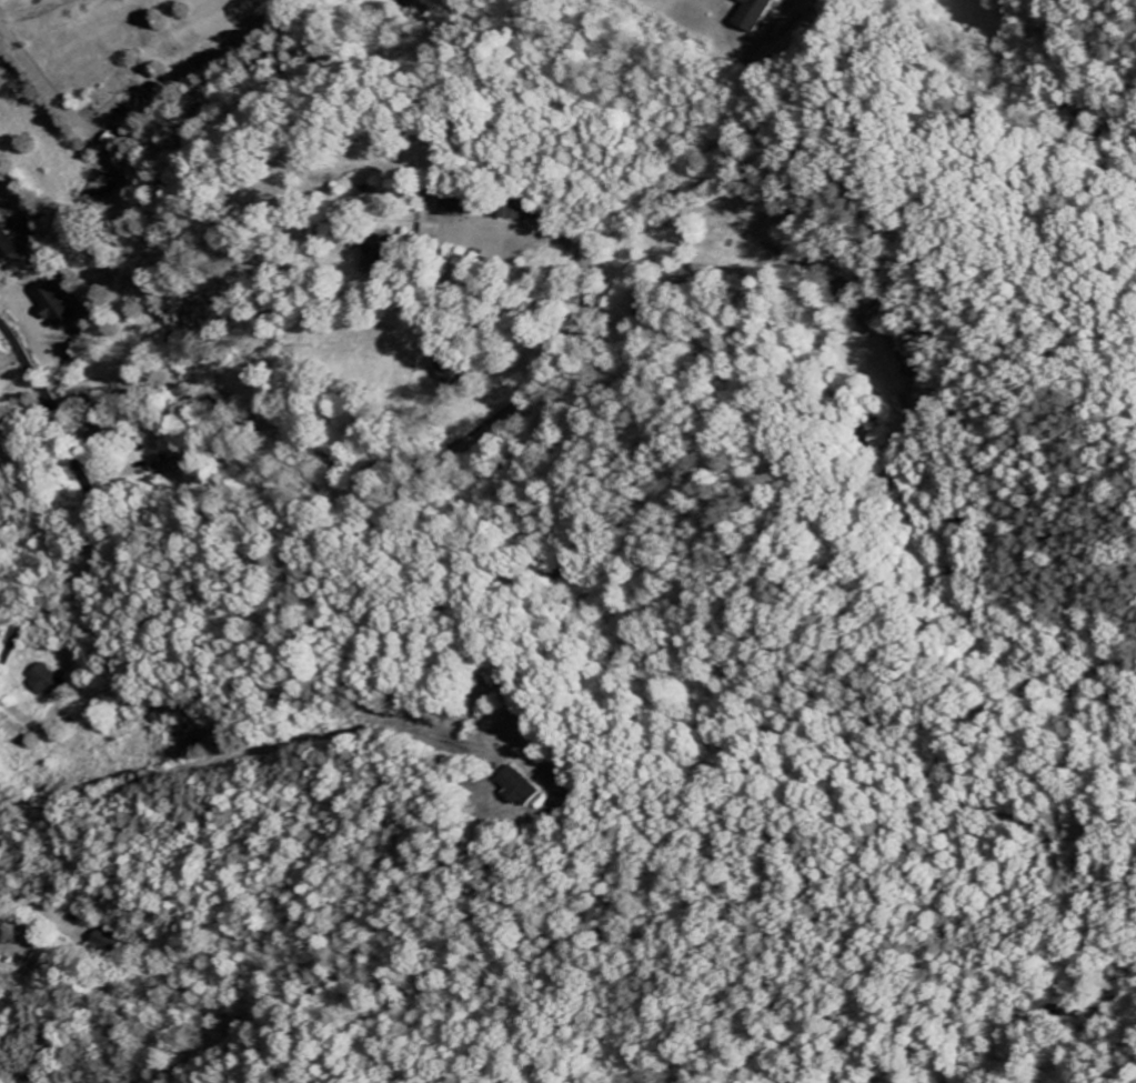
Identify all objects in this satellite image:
building: (758, 14)
road: (44, 82)
building: (472, 205)
building: (8, 243)
road: (102, 302)
building: (53, 305)
road: (153, 352)
road: (6, 354)
building: (459, 372)
road: (414, 465)
building: (165, 467)
road: (93, 521)
building: (54, 681)
road: (245, 755)
building: (530, 788)
road: (47, 906)
building: (117, 940)

